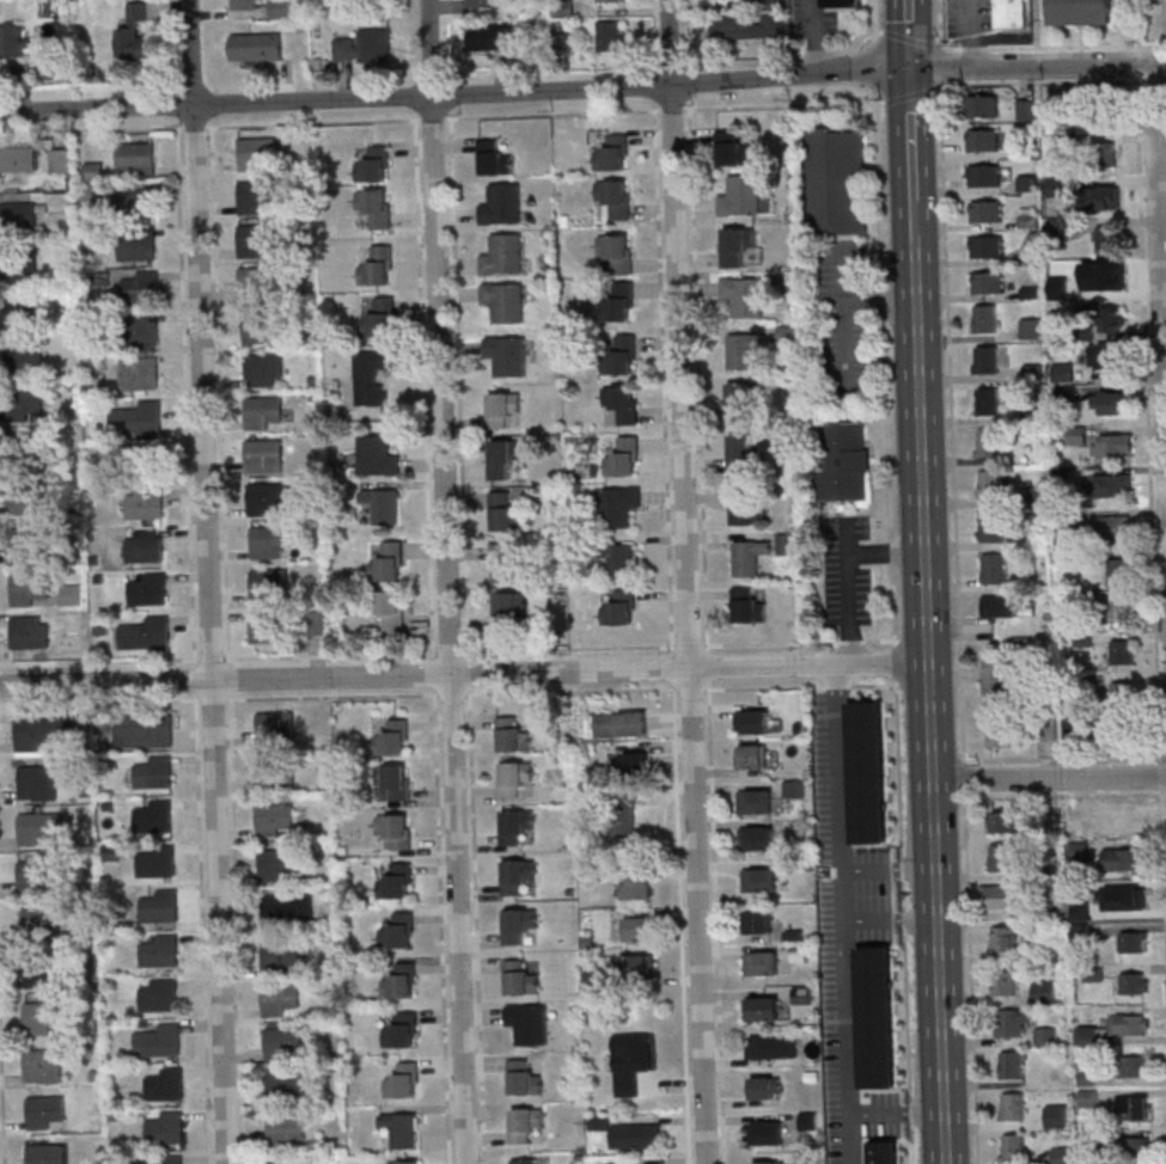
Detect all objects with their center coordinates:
building: (608, 0)
building: (482, 2)
building: (243, 4)
building: (843, 4)
building: (279, 8)
building: (1011, 12)
building: (1081, 12)
road: (874, 20)
building: (746, 26)
road: (878, 31)
building: (134, 33)
building: (610, 35)
road: (911, 36)
building: (487, 37)
road: (816, 37)
road: (910, 38)
building: (12, 41)
road: (1052, 45)
building: (254, 47)
building: (362, 49)
road: (825, 51)
road: (770, 53)
road: (875, 66)
road: (1038, 68)
road: (768, 72)
traffic signals: (912, 72)
road: (1042, 81)
road: (1155, 81)
road: (456, 93)
road: (910, 93)
road: (782, 104)
building: (983, 105)
road: (671, 108)
building: (1026, 109)
building: (1098, 110)
road: (330, 121)
road: (914, 135)
building: (983, 139)
building: (733, 146)
building: (612, 152)
building: (256, 153)
building: (1104, 154)
building: (134, 158)
building: (493, 158)
building: (17, 159)
building: (60, 160)
building: (372, 165)
building: (92, 171)
building: (984, 174)
building: (836, 182)
building: (92, 192)
building: (1105, 195)
building: (256, 196)
building: (740, 196)
building: (615, 197)
building: (134, 201)
building: (501, 204)
building: (374, 207)
building: (987, 210)
building: (17, 215)
road: (916, 219)
building: (1098, 238)
building: (252, 240)
building: (739, 240)
road: (1160, 241)
building: (135, 246)
building: (987, 246)
building: (615, 253)
building: (502, 255)
building: (377, 265)
building: (18, 271)
building: (257, 281)
building: (988, 282)
building: (139, 287)
building: (744, 295)
road: (879, 298)
building: (503, 301)
building: (618, 301)
building: (19, 311)
road: (841, 315)
building: (985, 317)
building: (379, 318)
building: (1113, 318)
building: (258, 326)
building: (1031, 327)
building: (140, 329)
building: (741, 349)
building: (622, 353)
building: (506, 354)
building: (22, 355)
building: (1107, 355)
building: (990, 359)
road: (886, 366)
building: (263, 368)
building: (138, 373)
building: (370, 374)
road: (698, 379)
road: (663, 380)
road: (458, 386)
road: (422, 388)
road: (218, 396)
road: (184, 397)
building: (989, 400)
building: (621, 402)
building: (740, 402)
building: (1110, 402)
building: (23, 403)
building: (502, 408)
building: (261, 411)
building: (136, 417)
road: (1148, 418)
building: (1076, 434)
building: (989, 442)
building: (1115, 443)
building: (26, 448)
building: (743, 453)
building: (263, 455)
building: (377, 455)
building: (503, 457)
building: (623, 457)
building: (843, 460)
building: (136, 461)
building: (990, 483)
building: (1115, 484)
building: (22, 497)
building: (267, 498)
building: (381, 504)
building: (617, 506)
building: (745, 506)
building: (147, 507)
building: (506, 511)
building: (991, 526)
building: (1112, 527)
building: (269, 540)
building: (26, 543)
building: (786, 543)
building: (144, 546)
building: (749, 556)
building: (618, 559)
building: (387, 562)
building: (507, 562)
building: (994, 568)
building: (1118, 571)
road: (208, 581)
road: (450, 582)
road: (689, 582)
road: (958, 582)
building: (268, 583)
building: (28, 588)
building: (148, 588)
building: (71, 594)
building: (747, 605)
building: (999, 605)
building: (511, 606)
building: (389, 608)
building: (619, 608)
building: (1119, 609)
building: (265, 626)
building: (25, 629)
building: (146, 633)
road: (914, 638)
road: (801, 642)
road: (689, 645)
building: (1123, 651)
road: (337, 654)
road: (896, 654)
road: (672, 666)
road: (708, 666)
road: (468, 672)
road: (432, 673)
road: (464, 674)
road: (227, 678)
road: (194, 679)
building: (997, 682)
road: (690, 688)
building: (1124, 693)
road: (338, 696)
road: (930, 702)
building: (753, 721)
building: (275, 723)
building: (622, 723)
building: (144, 730)
building: (38, 734)
building: (512, 735)
building: (1002, 735)
building: (391, 737)
building: (753, 755)
road: (1064, 758)
building: (633, 762)
road: (840, 765)
building: (868, 771)
building: (154, 772)
building: (270, 773)
building: (514, 777)
road: (1049, 778)
building: (393, 779)
road: (1161, 782)
building: (37, 783)
building: (795, 788)
road: (1063, 792)
building: (757, 801)
building: (153, 815)
building: (275, 816)
building: (1118, 816)
building: (624, 820)
building: (1001, 821)
building: (44, 825)
building: (515, 825)
road: (902, 827)
building: (395, 829)
building: (758, 838)
road: (1164, 845)
building: (1005, 857)
building: (1123, 858)
building: (158, 860)
road: (891, 863)
building: (277, 865)
building: (517, 875)
building: (37, 877)
building: (761, 878)
building: (396, 881)
building: (637, 888)
road: (845, 893)
building: (1000, 895)
building: (1130, 895)
building: (160, 906)
building: (287, 908)
road: (892, 918)
road: (716, 921)
building: (759, 921)
building: (41, 923)
road: (680, 923)
building: (518, 924)
road: (441, 925)
road: (476, 925)
road: (202, 927)
road: (236, 927)
building: (639, 927)
building: (398, 931)
building: (1133, 941)
building: (1003, 942)
building: (160, 950)
building: (799, 952)
building: (281, 956)
building: (762, 962)
building: (639, 963)
building: (41, 973)
building: (520, 978)
building: (401, 980)
building: (1005, 981)
building: (1134, 982)
building: (1045, 991)
building: (158, 994)
building: (279, 998)
building: (763, 1007)
building: (877, 1016)
building: (42, 1017)
building: (1013, 1021)
building: (529, 1022)
building: (1127, 1023)
building: (402, 1030)
building: (1046, 1035)
building: (160, 1039)
building: (285, 1043)
building: (773, 1046)
building: (630, 1061)
road: (851, 1062)
building: (1012, 1064)
building: (43, 1065)
building: (1136, 1065)
building: (524, 1077)
building: (403, 1080)
building: (166, 1084)
building: (285, 1085)
road: (2, 1086)
building: (767, 1086)
building: (1088, 1097)
building: (1012, 1105)
building: (1133, 1107)
building: (45, 1110)
building: (598, 1122)
building: (525, 1123)
building: (165, 1127)
building: (403, 1128)
building: (285, 1129)
building: (768, 1132)
building: (636, 1135)
road: (854, 1139)
building: (1013, 1146)
building: (1134, 1147)
building: (885, 1152)
building: (47, 1153)
building: (170, 1159)
building: (524, 1160)
building: (287, 1162)
building: (404, 1162)
building: (769, 1162)

